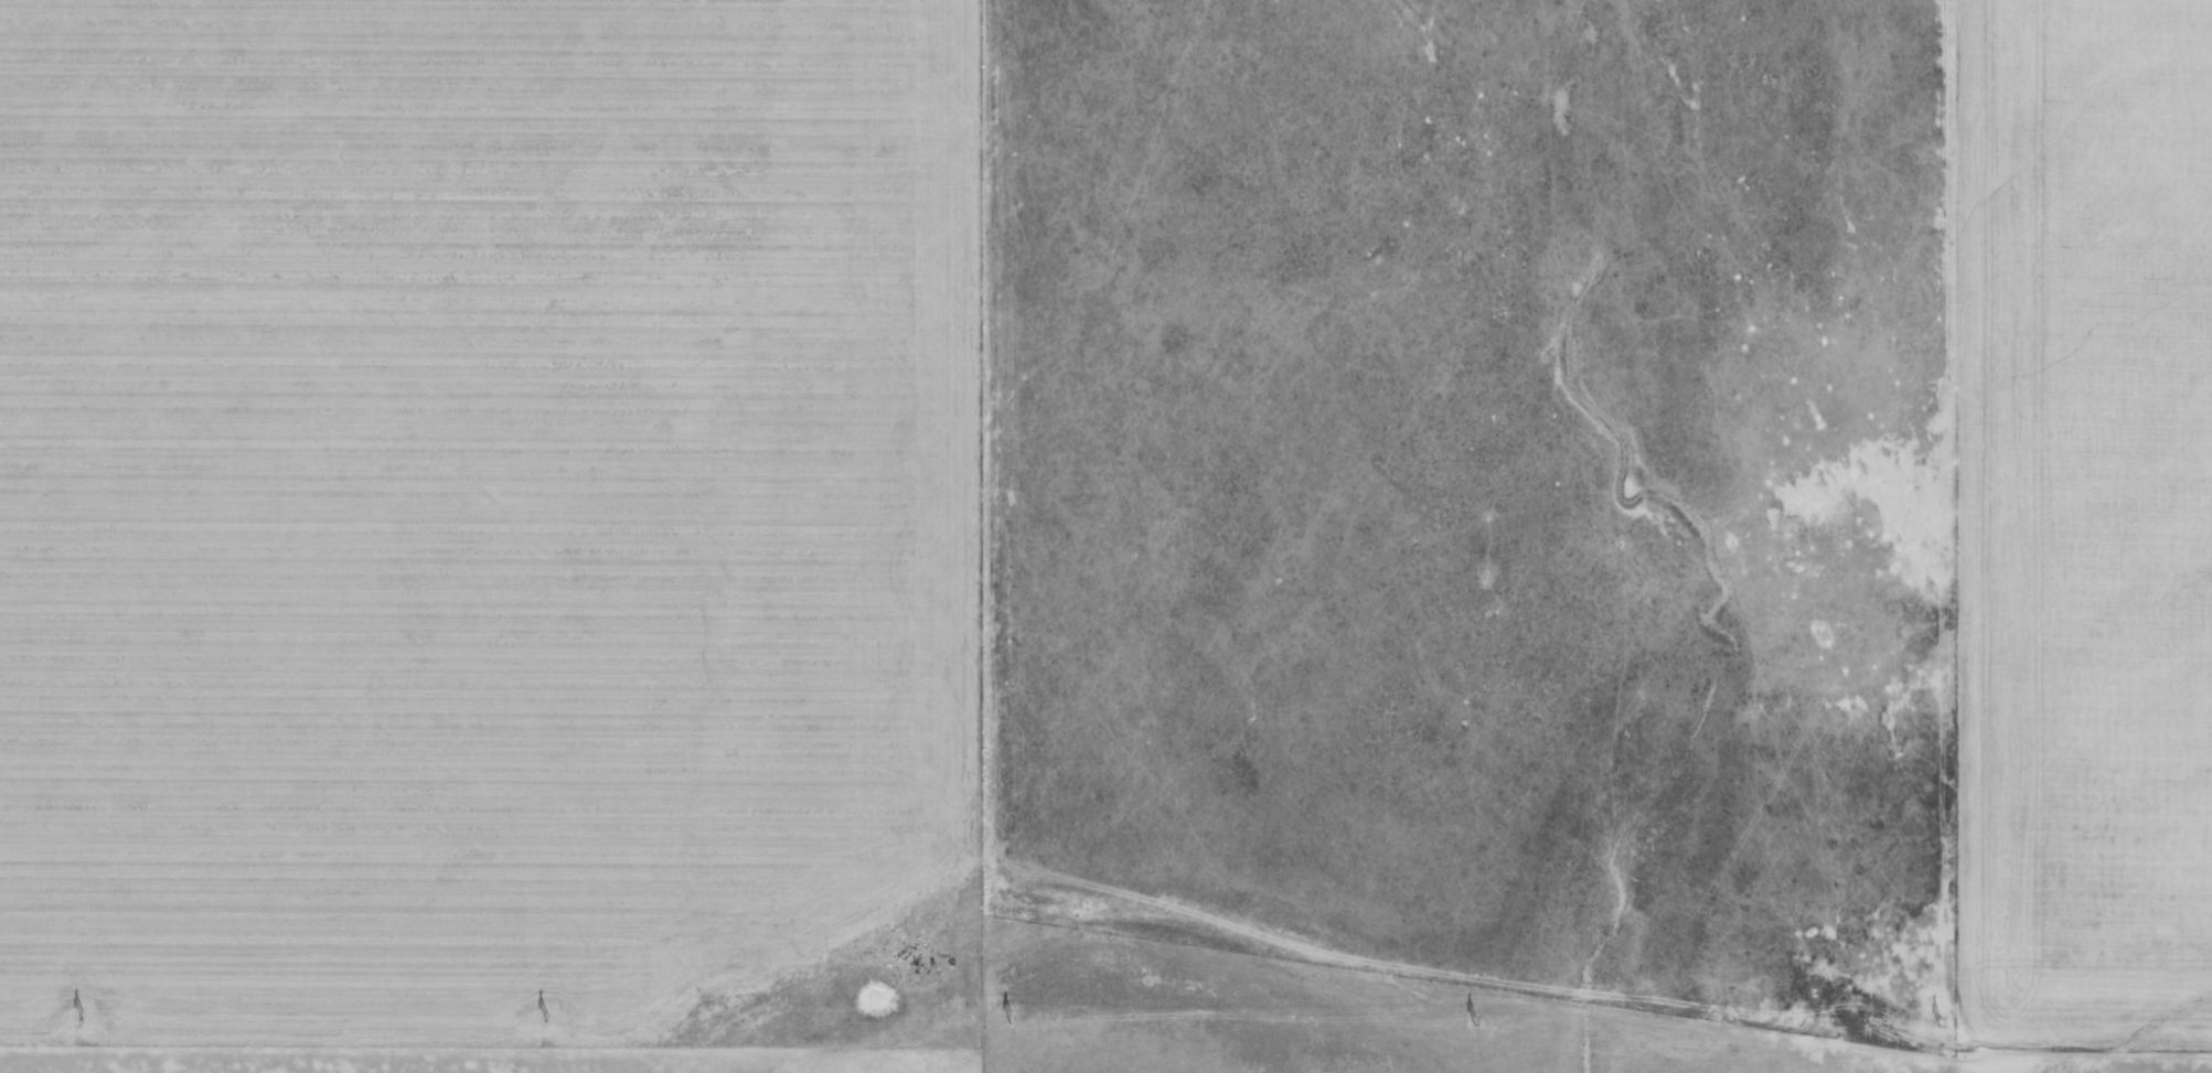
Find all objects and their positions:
power tower: (79, 1016)
power tower: (545, 1018)
power tower: (1009, 1020)
power tower: (1473, 1021)
power tower: (1939, 1023)

